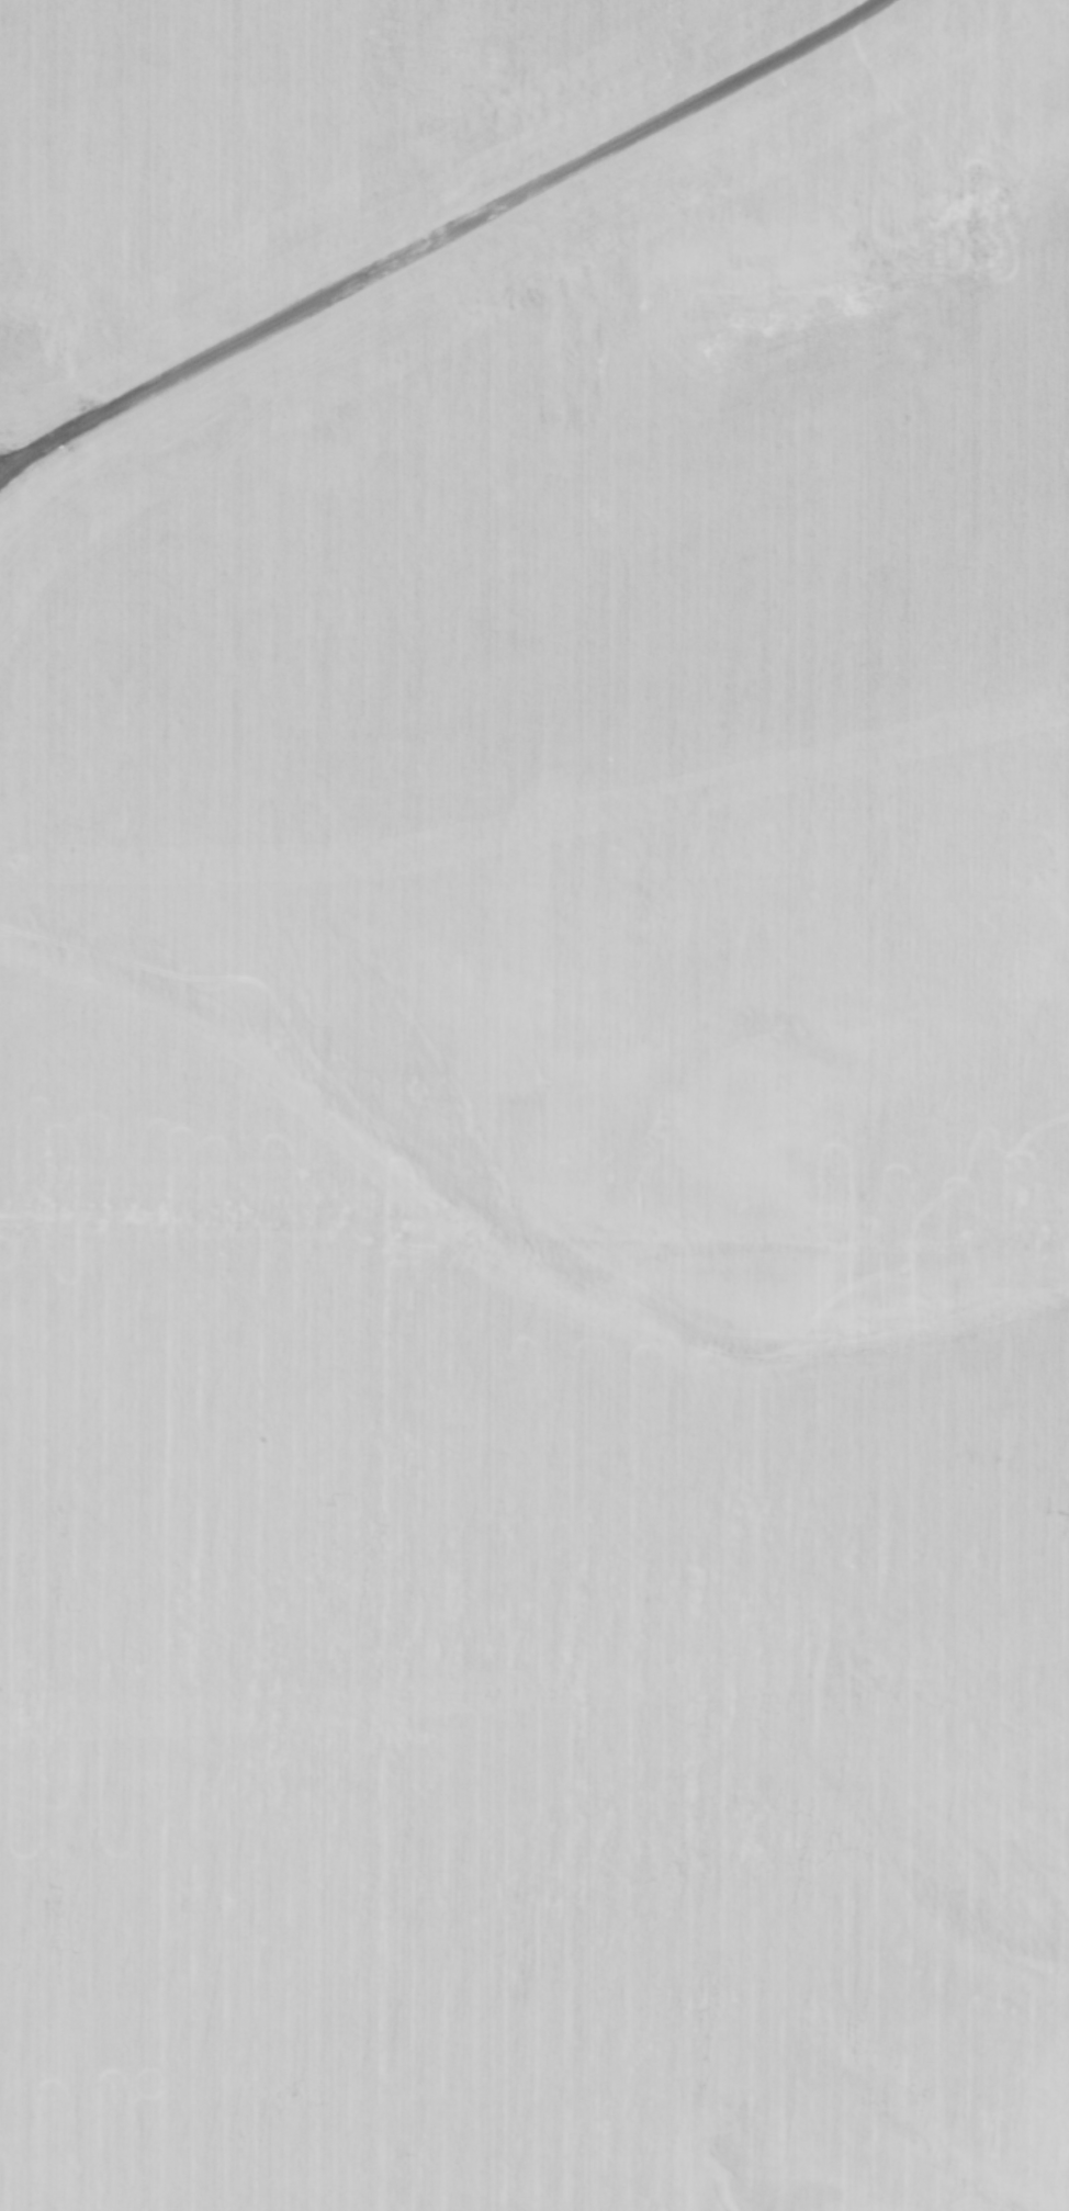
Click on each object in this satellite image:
road: (423, 223)

